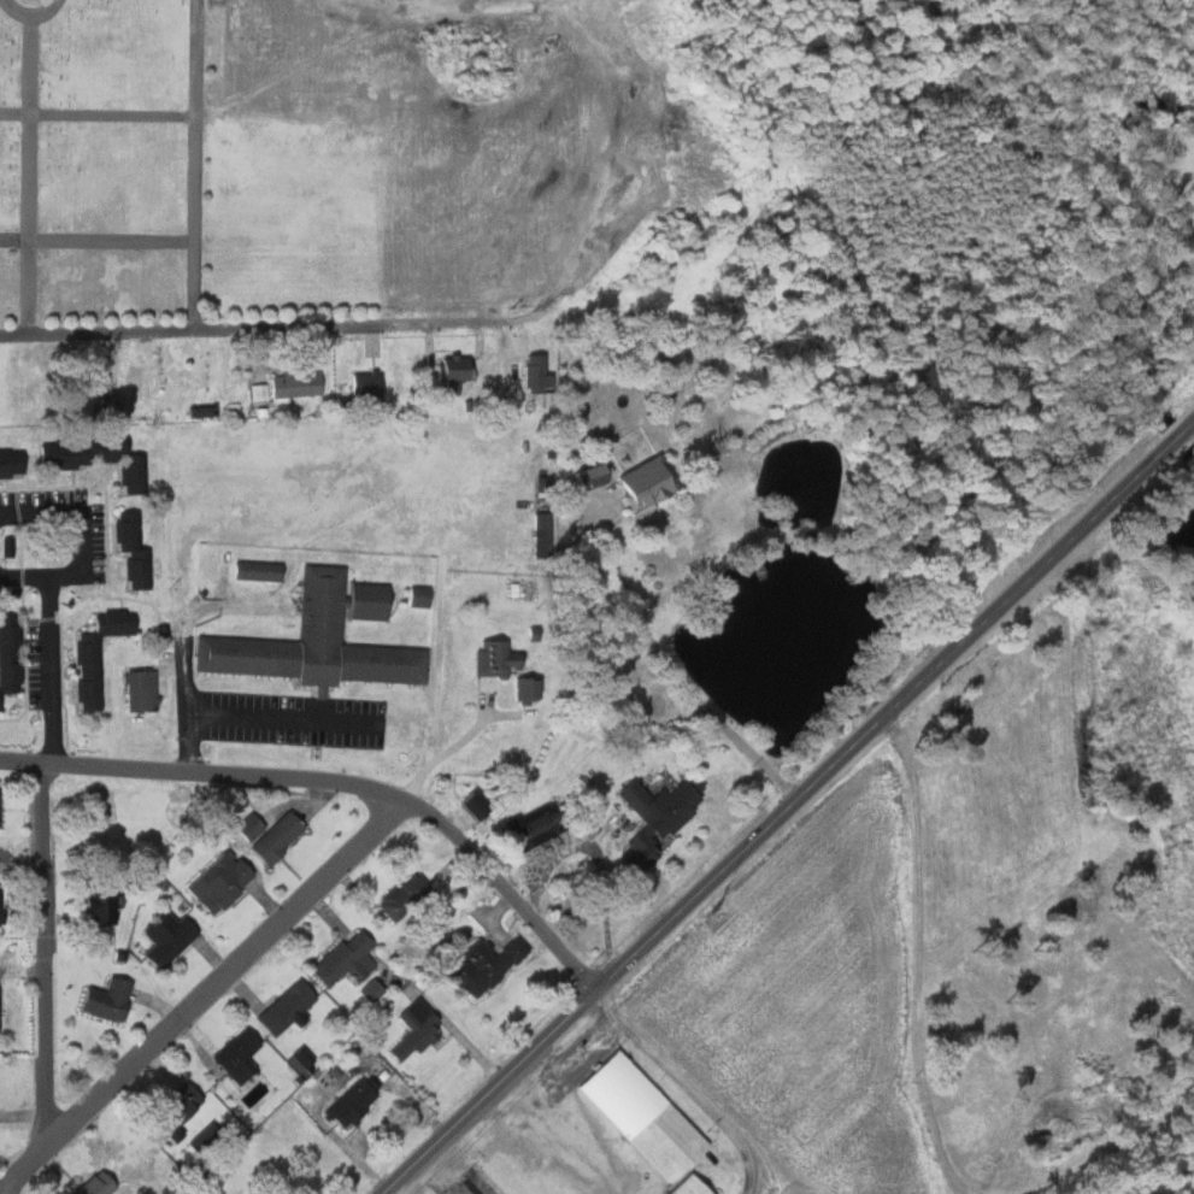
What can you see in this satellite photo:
road: (33, 16)
road: (98, 112)
park: (98, 165)
road: (196, 165)
road: (30, 175)
road: (96, 241)
road: (263, 328)
building: (536, 369)
building: (457, 371)
building: (299, 386)
building: (577, 386)
building: (369, 387)
building: (255, 392)
building: (99, 457)
building: (13, 461)
building: (582, 477)
building: (648, 483)
road: (84, 542)
building: (135, 549)
building: (260, 570)
building: (423, 596)
building: (323, 637)
building: (100, 653)
building: (11, 654)
building: (490, 658)
road: (53, 669)
road: (669, 671)
building: (530, 688)
building: (143, 690)
road: (202, 772)
building: (465, 802)
building: (475, 808)
road: (793, 811)
building: (659, 814)
building: (540, 820)
building: (280, 835)
building: (224, 880)
building: (407, 894)
building: (1, 898)
building: (106, 901)
building: (171, 936)
road: (45, 952)
building: (348, 958)
building: (488, 964)
road: (584, 978)
building: (369, 989)
road: (200, 995)
building: (112, 999)
building: (290, 1006)
building: (419, 1029)
building: (300, 1054)
building: (241, 1055)
building: (355, 1101)
building: (180, 1110)
building: (637, 1113)
building: (211, 1141)
road: (751, 1182)
building: (101, 1184)
building: (684, 1186)
building: (257, 1193)

